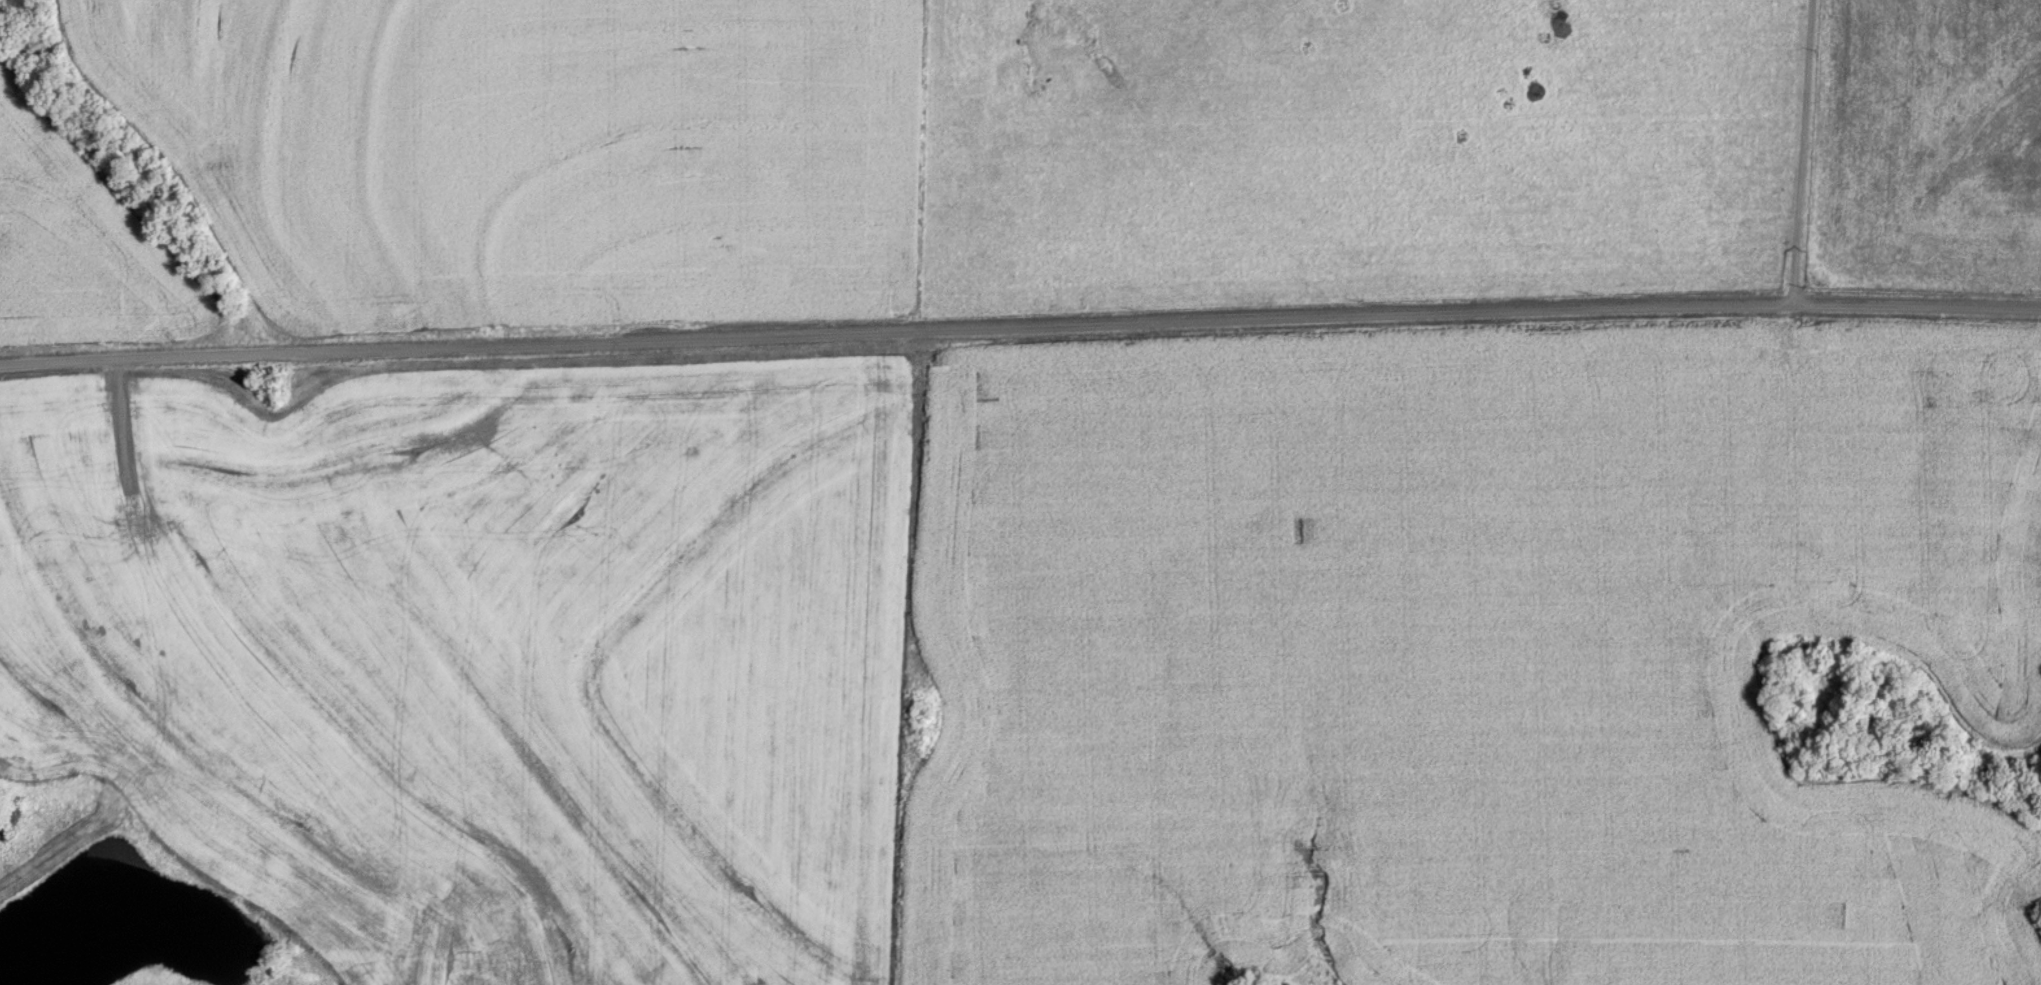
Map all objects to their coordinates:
road: (1801, 150)
road: (1020, 326)
road: (121, 424)

